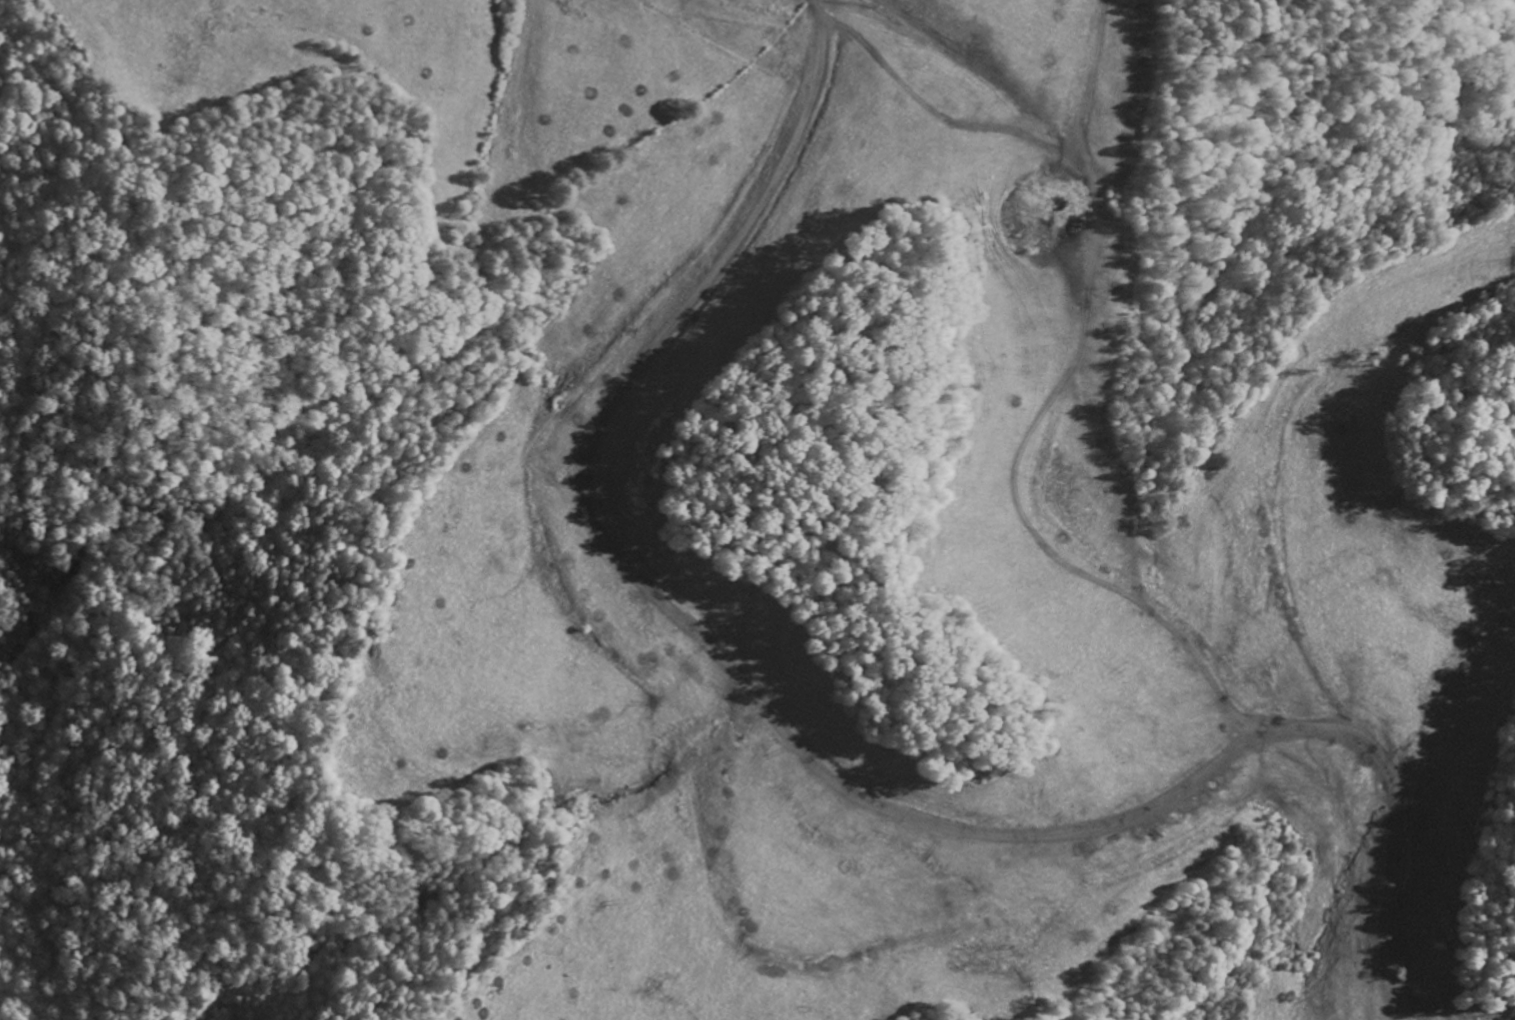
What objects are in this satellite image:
road: (1398, 34)
road: (903, 42)
road: (805, 751)

